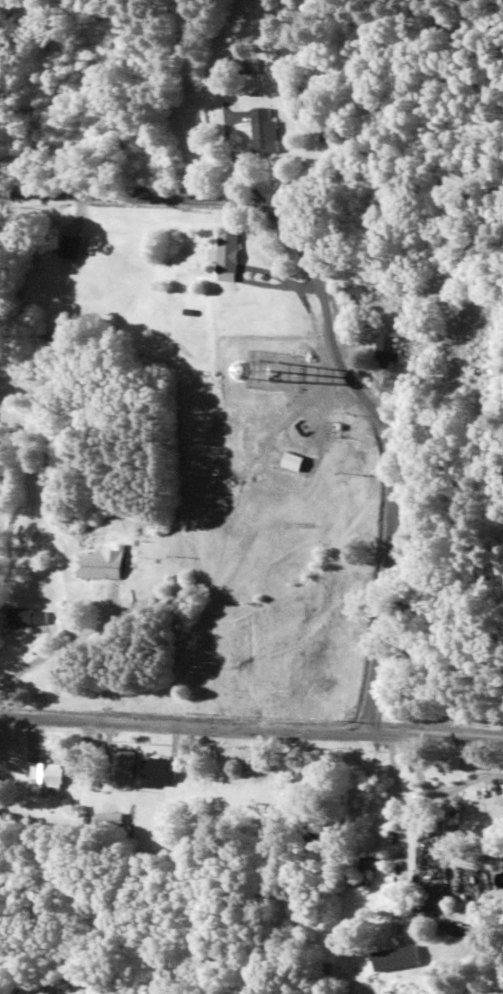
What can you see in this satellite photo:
building: (246, 67)
building: (262, 132)
road: (147, 194)
road: (316, 198)
building: (70, 247)
building: (224, 253)
building: (354, 293)
building: (388, 349)
road: (380, 459)
building: (99, 566)
building: (30, 619)
road: (251, 725)
building: (121, 770)
building: (158, 774)
building: (47, 777)
building: (362, 873)

